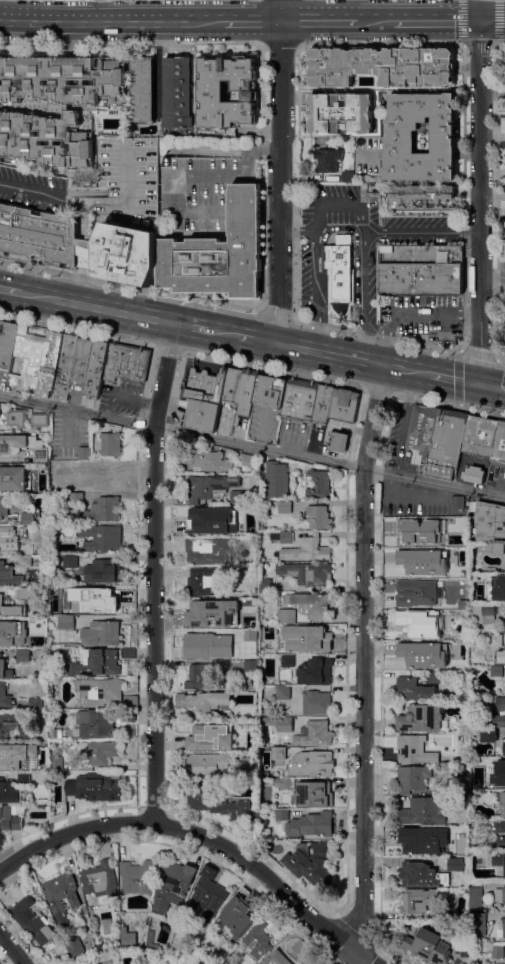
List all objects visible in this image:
road: (437, 20)
traffic signals: (479, 20)
road: (492, 20)
road: (377, 21)
road: (112, 22)
road: (252, 22)
road: (319, 22)
road: (380, 42)
road: (132, 43)
road: (281, 43)
road: (477, 46)
building: (383, 66)
building: (503, 80)
building: (143, 90)
building: (177, 92)
building: (212, 96)
building: (341, 113)
building: (21, 115)
building: (402, 136)
building: (327, 160)
road: (278, 172)
building: (348, 177)
road: (480, 192)
building: (421, 197)
road: (343, 205)
road: (93, 207)
road: (83, 222)
road: (297, 233)
road: (354, 233)
road: (422, 233)
building: (78, 244)
road: (82, 248)
building: (218, 253)
road: (323, 264)
building: (339, 270)
building: (421, 270)
road: (493, 276)
road: (82, 281)
road: (129, 285)
road: (322, 285)
road: (9, 291)
road: (96, 308)
road: (413, 313)
road: (275, 316)
road: (189, 328)
road: (76, 330)
road: (220, 334)
road: (376, 337)
road: (252, 340)
building: (7, 343)
road: (166, 347)
road: (458, 358)
road: (349, 359)
building: (27, 360)
road: (500, 360)
building: (126, 362)
building: (50, 364)
building: (80, 365)
road: (271, 370)
road: (453, 379)
traffic signals: (478, 384)
building: (232, 385)
road: (491, 386)
road: (376, 390)
building: (246, 392)
building: (270, 392)
building: (204, 398)
building: (300, 400)
road: (447, 403)
building: (322, 405)
building: (343, 405)
building: (16, 418)
building: (40, 421)
building: (225, 424)
building: (477, 436)
building: (29, 437)
building: (436, 438)
building: (34, 442)
building: (339, 442)
building: (6, 444)
building: (111, 444)
building: (498, 444)
road: (252, 446)
building: (84, 453)
building: (40, 454)
building: (209, 461)
building: (247, 461)
building: (85, 467)
building: (474, 474)
building: (109, 477)
building: (14, 478)
building: (276, 479)
building: (319, 484)
building: (210, 487)
building: (75, 488)
building: (237, 496)
building: (76, 498)
building: (457, 502)
building: (3, 506)
building: (285, 507)
building: (236, 509)
building: (102, 511)
building: (203, 517)
building: (318, 517)
building: (27, 518)
building: (488, 520)
building: (438, 524)
building: (238, 529)
building: (409, 534)
building: (101, 537)
building: (286, 537)
building: (10, 539)
building: (495, 548)
building: (209, 550)
building: (307, 550)
building: (463, 551)
building: (262, 557)
building: (70, 561)
building: (25, 562)
building: (419, 562)
building: (504, 562)
building: (103, 571)
road: (153, 572)
building: (307, 573)
building: (9, 576)
building: (202, 582)
building: (265, 585)
building: (497, 587)
building: (79, 591)
building: (23, 593)
building: (417, 593)
building: (105, 601)
building: (463, 603)
building: (312, 605)
building: (11, 609)
building: (206, 610)
building: (487, 614)
building: (286, 616)
building: (237, 621)
building: (421, 622)
building: (67, 623)
building: (504, 626)
building: (2, 633)
building: (101, 633)
building: (250, 635)
building: (318, 636)
building: (495, 641)
building: (290, 645)
building: (198, 646)
building: (454, 646)
building: (128, 652)
building: (24, 655)
building: (499, 655)
building: (418, 656)
road: (364, 658)
building: (287, 661)
building: (97, 663)
building: (251, 666)
building: (5, 669)
building: (315, 671)
building: (495, 671)
building: (433, 677)
building: (205, 678)
building: (414, 689)
building: (101, 691)
building: (283, 692)
building: (5, 696)
building: (204, 700)
building: (316, 702)
building: (500, 703)
building: (36, 706)
building: (422, 718)
building: (499, 720)
building: (8, 723)
building: (97, 723)
building: (279, 723)
building: (57, 733)
building: (214, 734)
building: (314, 734)
building: (488, 735)
building: (24, 736)
building: (504, 746)
building: (414, 749)
building: (100, 752)
building: (278, 753)
building: (17, 756)
building: (56, 763)
building: (311, 764)
building: (207, 765)
building: (484, 766)
building: (243, 776)
building: (412, 778)
building: (24, 779)
building: (503, 781)
building: (284, 784)
building: (462, 786)
building: (95, 787)
building: (8, 792)
building: (313, 794)
building: (502, 804)
building: (218, 805)
building: (424, 811)
building: (281, 814)
building: (11, 817)
building: (310, 825)
building: (499, 826)
road: (190, 832)
building: (444, 832)
building: (499, 842)
building: (414, 844)
building: (498, 860)
building: (311, 863)
building: (456, 864)
building: (421, 875)
building: (137, 877)
building: (99, 879)
building: (172, 886)
building: (208, 894)
building: (61, 897)
building: (501, 897)
building: (475, 899)
building: (418, 900)
building: (239, 915)
building: (32, 921)
building: (478, 925)
building: (504, 928)
building: (127, 937)
building: (259, 940)
building: (427, 946)
building: (74, 947)
building: (300, 947)
road: (11, 949)
building: (497, 951)
building: (460, 953)
building: (277, 958)
road: (358, 958)
building: (303, 963)

